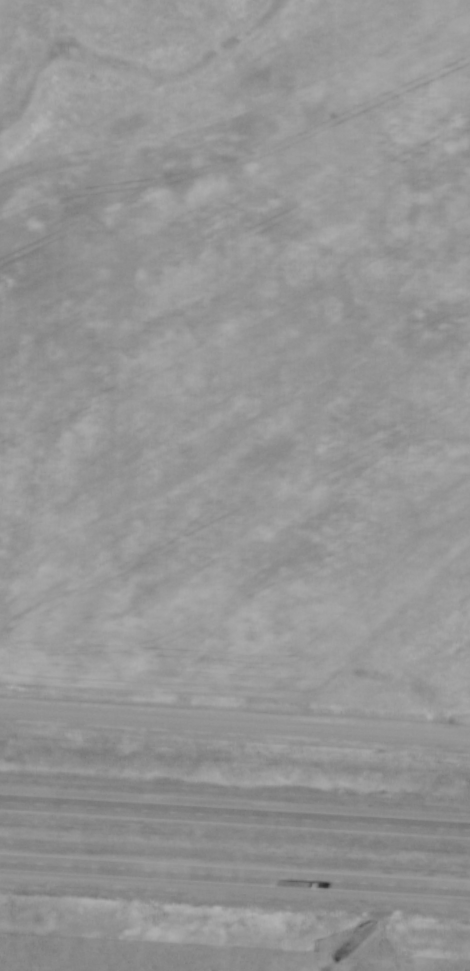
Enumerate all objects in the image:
road: (234, 724)
road: (234, 814)
road: (234, 873)

